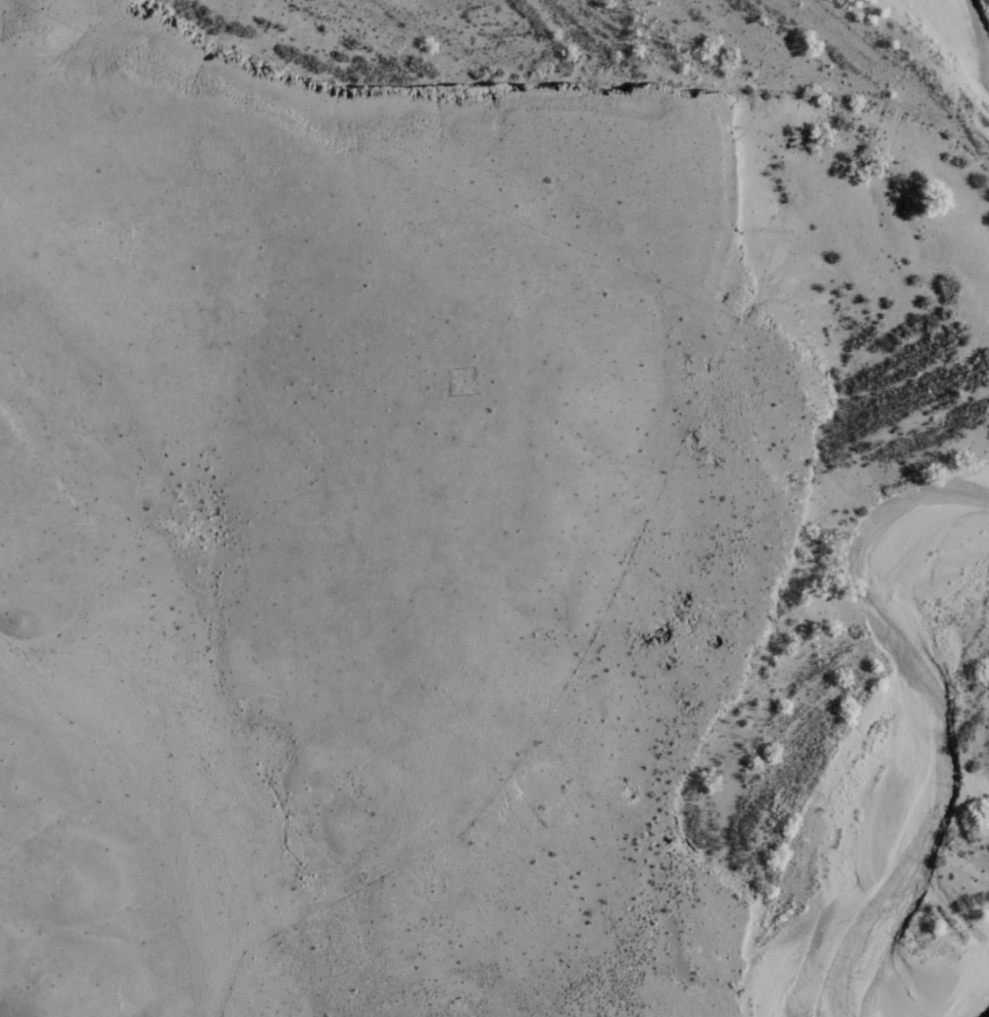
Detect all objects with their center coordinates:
river: (940, 40)
river: (844, 829)

